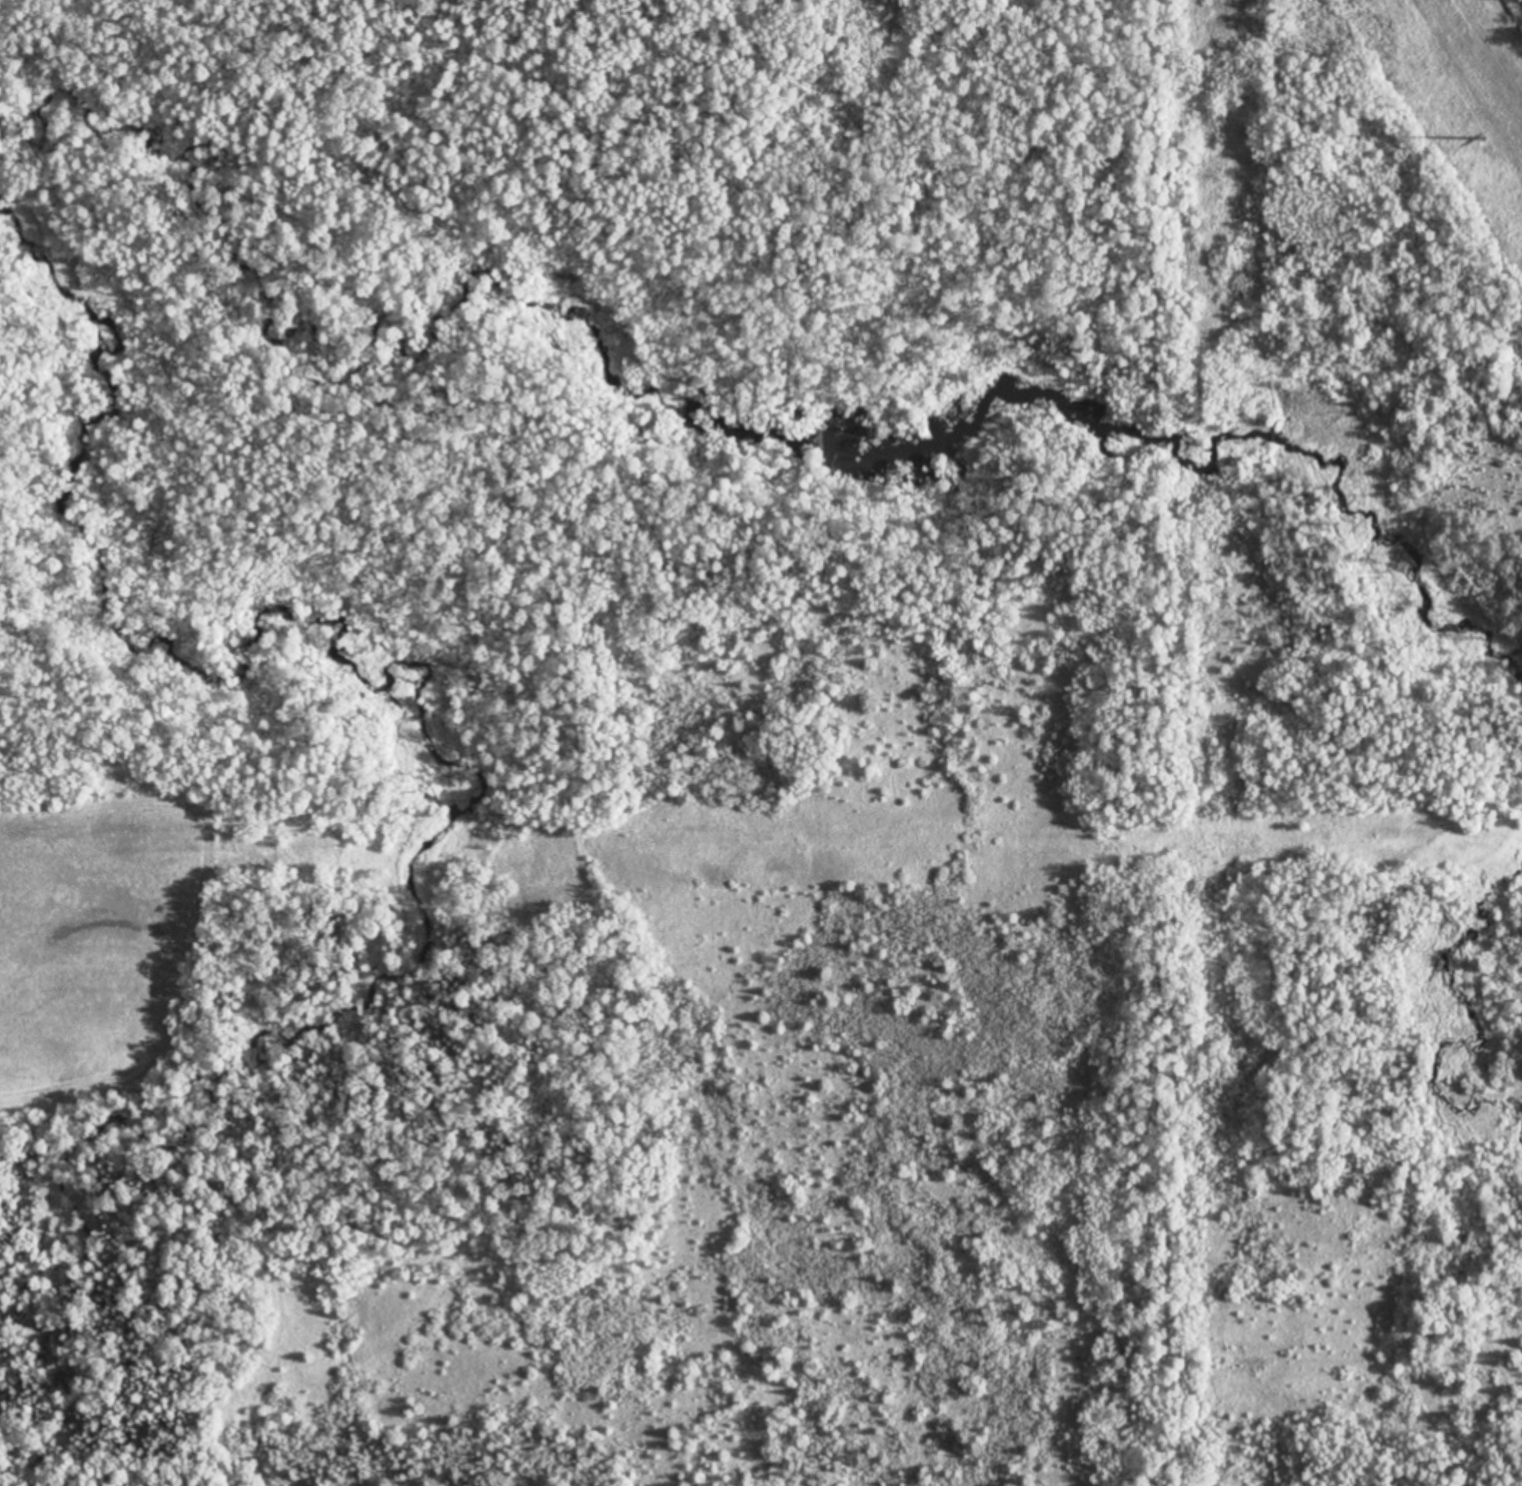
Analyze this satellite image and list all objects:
power tower: (1478, 141)

